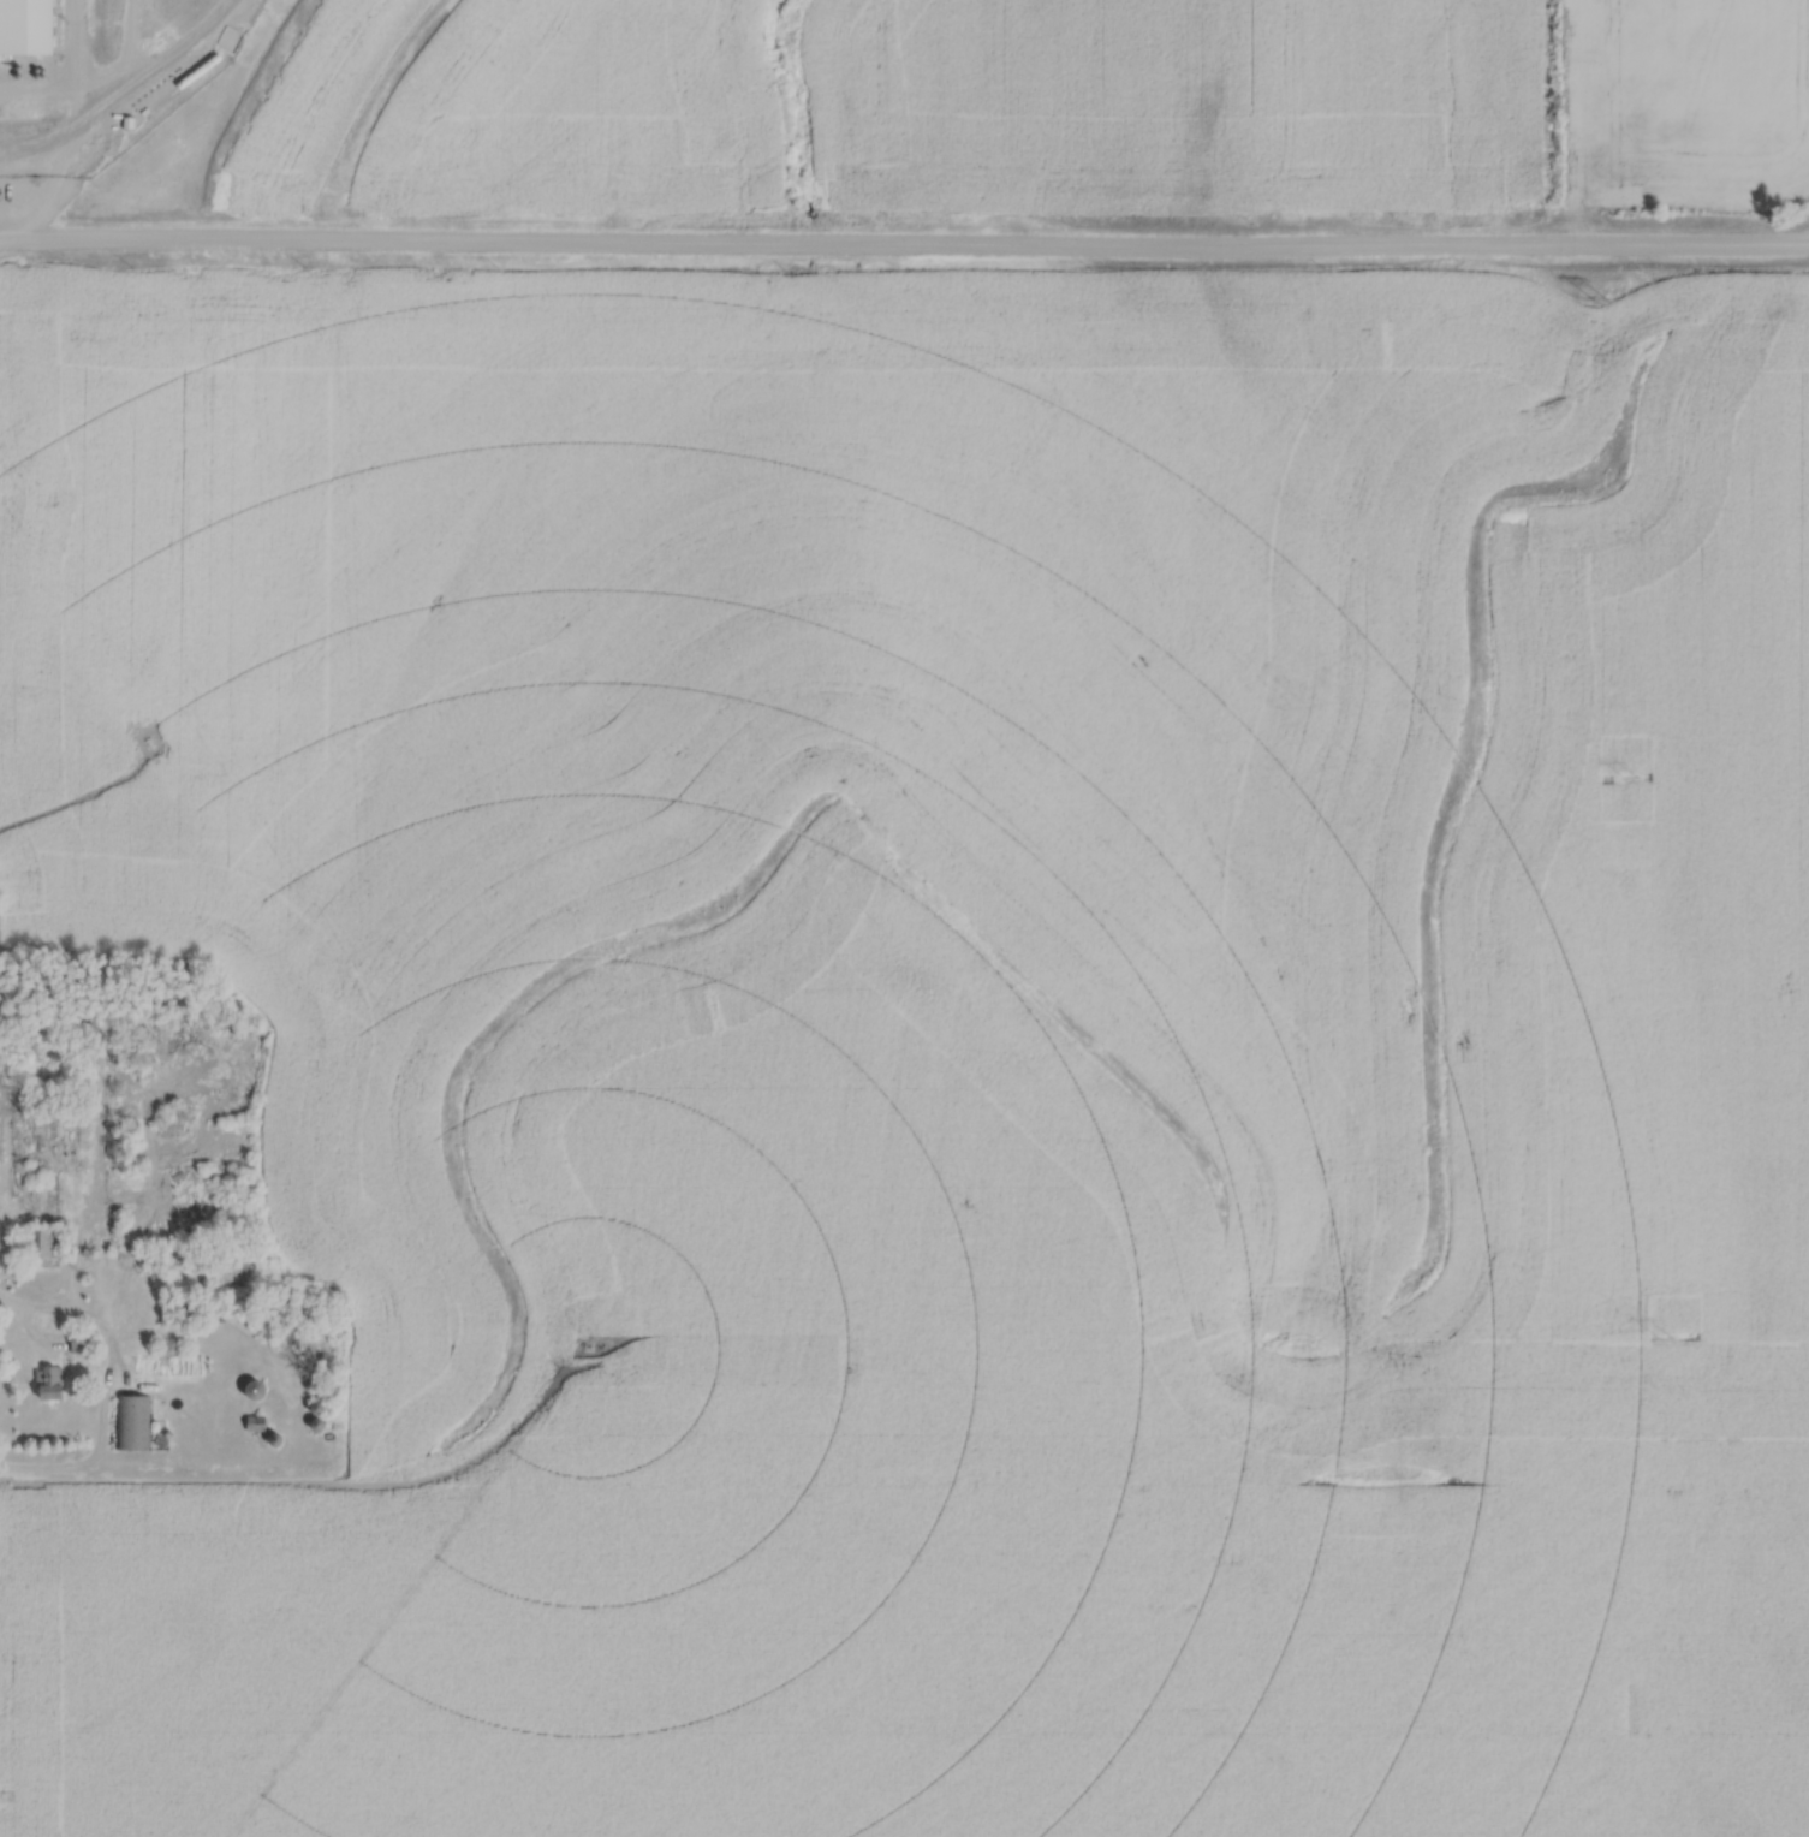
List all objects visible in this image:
building: (11, 161)
road: (904, 249)
power tower: (1600, 299)
power tower: (1630, 780)
building: (43, 1244)
power tower: (1662, 1337)
building: (81, 1343)
building: (49, 1383)
building: (252, 1391)
road: (227, 1409)

